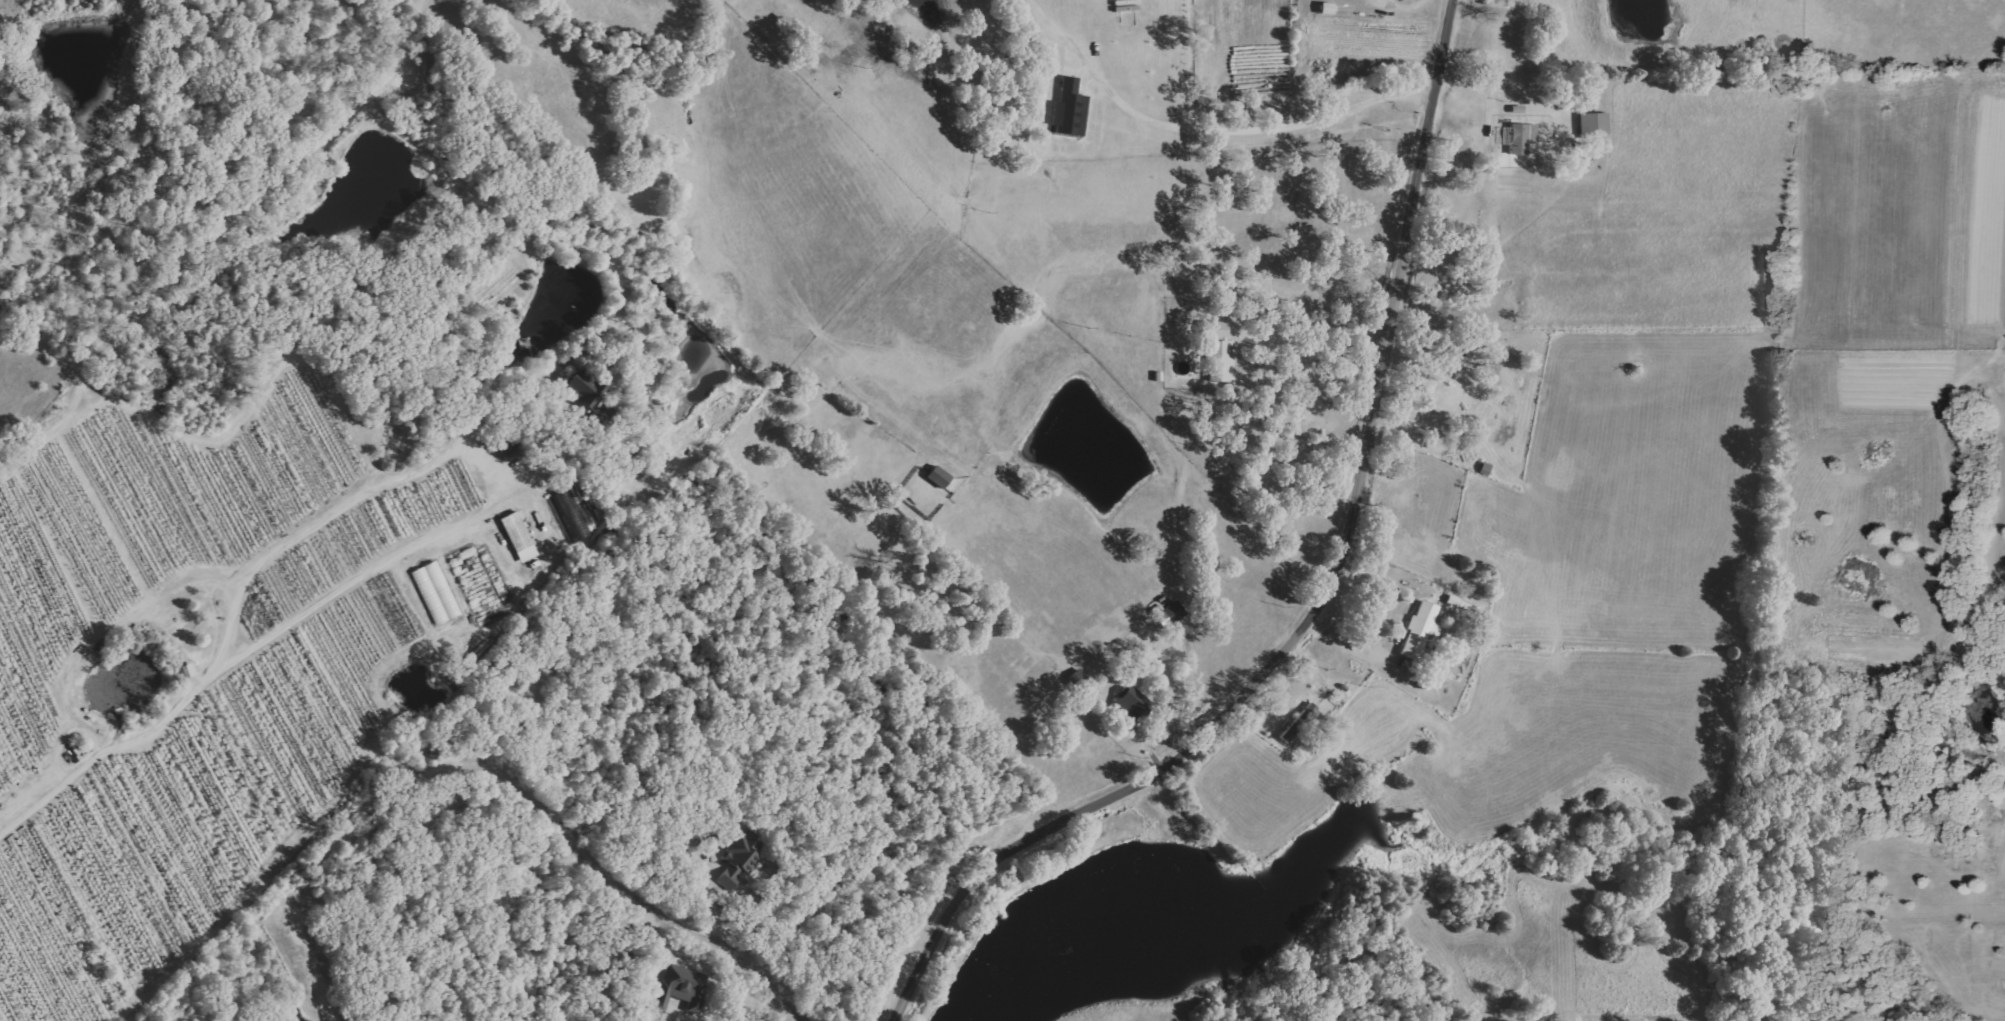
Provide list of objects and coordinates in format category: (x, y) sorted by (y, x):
building: (1510, 0)
building: (1494, 2)
building: (1328, 9)
building: (1071, 110)
building: (1596, 124)
road: (1212, 126)
building: (1524, 138)
road: (1310, 351)
building: (1220, 352)
road: (553, 391)
building: (586, 391)
road: (491, 458)
building: (940, 476)
building: (520, 536)
building: (437, 593)
road: (1328, 603)
building: (1175, 611)
building: (1422, 629)
building: (189, 670)
building: (1080, 679)
building: (1134, 703)
building: (1300, 722)
road: (106, 745)
building: (743, 859)
road: (752, 963)
building: (683, 988)

